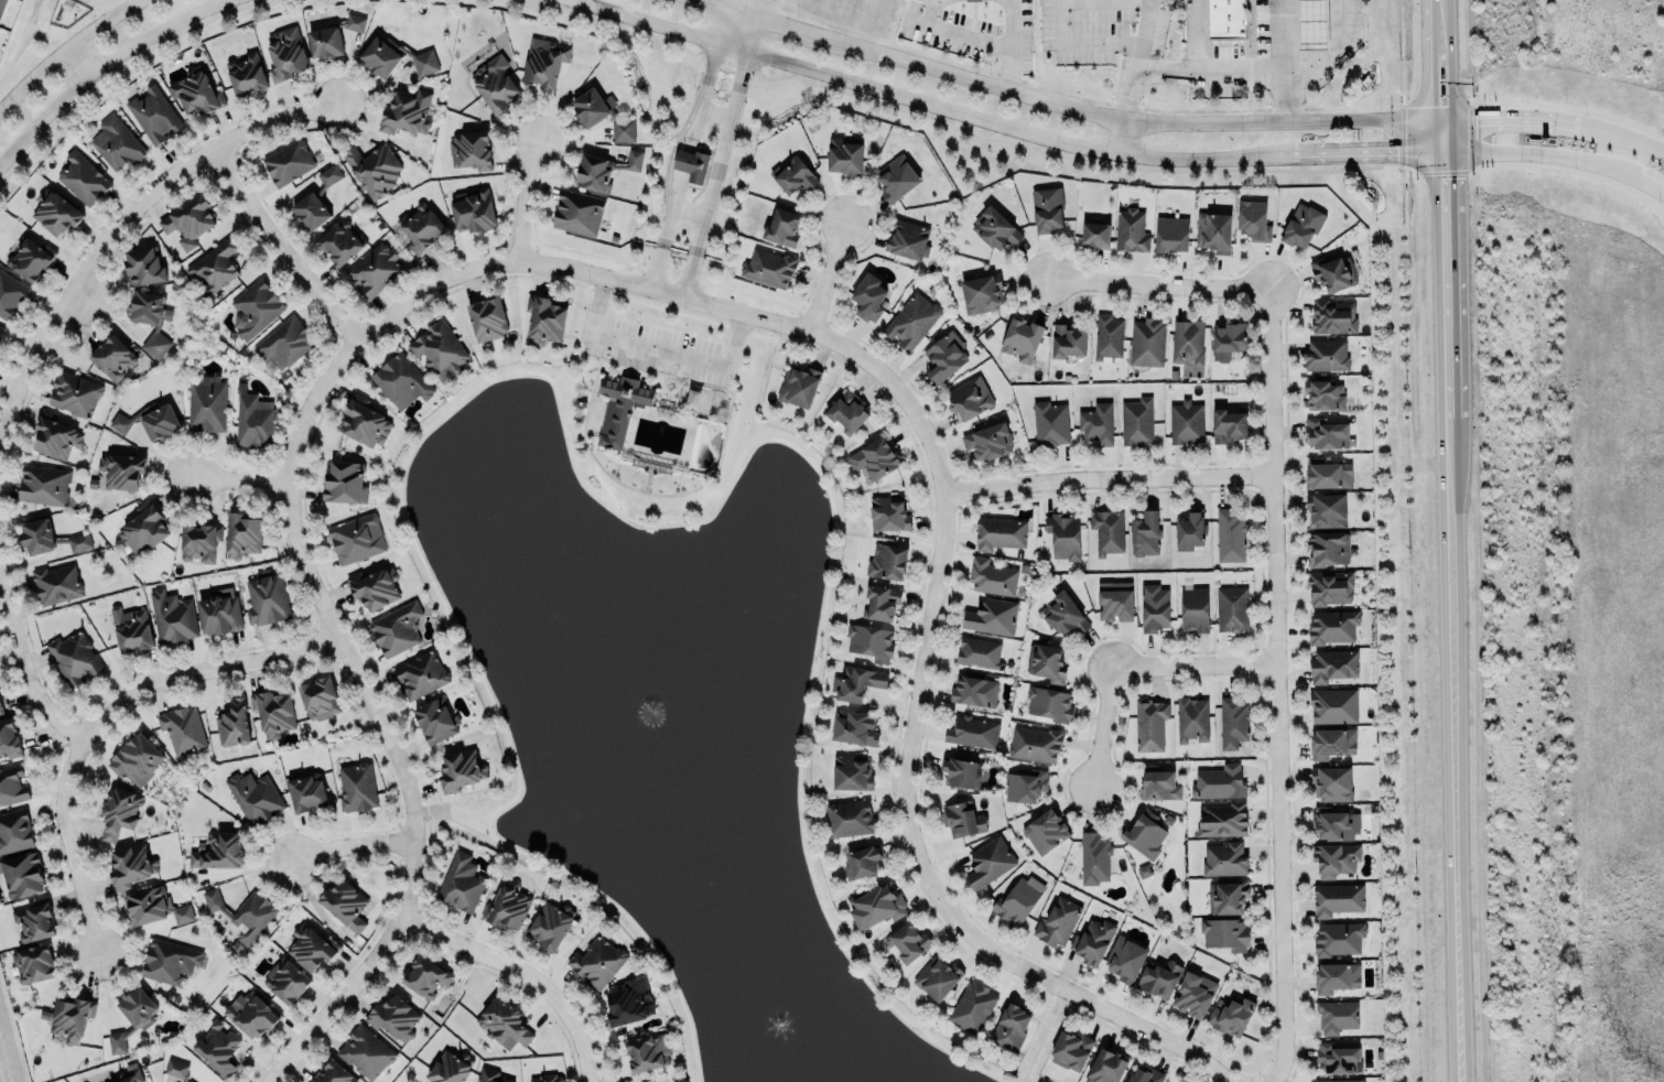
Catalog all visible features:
building: (972, 0)
building: (1, 6)
road: (1149, 6)
road: (1069, 12)
building: (1234, 20)
building: (1311, 24)
gas station: (1312, 24)
road: (1285, 34)
building: (331, 37)
road: (988, 42)
road: (1333, 50)
road: (63, 52)
building: (284, 53)
building: (395, 56)
building: (544, 62)
road: (100, 67)
road: (1204, 69)
road: (1138, 71)
building: (246, 73)
building: (494, 83)
building: (196, 93)
road: (1288, 95)
road: (1063, 108)
building: (407, 110)
building: (603, 113)
building: (153, 115)
road: (714, 116)
road: (1510, 119)
road: (693, 123)
road: (1000, 123)
road: (731, 128)
road: (1620, 142)
building: (116, 143)
building: (469, 150)
building: (844, 155)
road: (1542, 155)
building: (634, 160)
building: (288, 161)
building: (691, 164)
building: (374, 169)
building: (593, 173)
building: (796, 173)
building: (329, 175)
building: (897, 175)
building: (83, 177)
road: (1650, 185)
road: (522, 201)
building: (473, 209)
road: (691, 209)
building: (1047, 209)
building: (310, 210)
building: (54, 213)
building: (577, 213)
road: (119, 220)
building: (188, 220)
building: (1253, 220)
building: (1301, 224)
building: (420, 227)
building: (781, 227)
building: (994, 227)
building: (1131, 229)
building: (1213, 230)
building: (1095, 234)
building: (1170, 234)
building: (907, 238)
building: (339, 241)
road: (281, 248)
building: (30, 257)
building: (143, 264)
building: (214, 266)
building: (768, 267)
building: (374, 268)
road: (658, 269)
building: (1333, 273)
road: (692, 277)
road: (828, 278)
road: (1157, 283)
building: (982, 292)
building: (10, 293)
building: (868, 295)
building: (256, 307)
building: (1332, 315)
building: (150, 318)
building: (487, 318)
building: (544, 320)
building: (911, 320)
building: (1, 329)
building: (1107, 336)
building: (1022, 337)
building: (1229, 337)
building: (1068, 339)
building: (1188, 340)
building: (1147, 342)
building: (283, 344)
road: (661, 346)
building: (439, 349)
building: (1326, 355)
building: (112, 356)
building: (944, 357)
building: (401, 380)
building: (798, 386)
building: (1323, 392)
building: (74, 393)
building: (970, 397)
building: (206, 402)
building: (619, 409)
building: (847, 411)
building: (364, 420)
building: (1136, 420)
building: (253, 421)
building: (1186, 422)
building: (1050, 423)
building: (1096, 423)
building: (1229, 424)
building: (1326, 432)
building: (55, 437)
building: (987, 442)
building: (875, 457)
building: (121, 469)
building: (1329, 474)
road: (1109, 476)
road: (240, 479)
building: (345, 482)
building: (43, 484)
building: (1326, 509)
building: (888, 512)
building: (142, 529)
building: (1106, 531)
building: (1189, 531)
building: (998, 532)
building: (242, 533)
building: (1144, 533)
building: (1063, 534)
building: (1230, 535)
building: (36, 537)
building: (358, 538)
building: (198, 540)
road: (1451, 540)
building: (78, 542)
building: (1329, 548)
building: (887, 561)
building: (1024, 569)
road: (307, 576)
building: (993, 576)
building: (55, 584)
building: (374, 587)
building: (1330, 587)
building: (1019, 592)
building: (267, 597)
building: (1114, 599)
building: (880, 603)
building: (1153, 607)
building: (1231, 608)
building: (1193, 609)
building: (219, 610)
building: (1065, 614)
building: (172, 616)
building: (992, 616)
building: (1332, 626)
building: (396, 628)
building: (130, 629)
building: (869, 640)
building: (979, 652)
building: (73, 657)
building: (1046, 661)
road: (23, 663)
building: (1332, 663)
road: (1196, 664)
building: (421, 674)
road: (920, 679)
building: (856, 682)
road: (1278, 686)
building: (975, 690)
building: (318, 699)
building: (1049, 703)
building: (1332, 704)
building: (0, 710)
fountain: (656, 711)
building: (272, 712)
road: (101, 716)
building: (1192, 718)
building: (434, 719)
building: (1232, 722)
building: (233, 723)
building: (1149, 723)
building: (854, 726)
road: (1103, 727)
building: (182, 729)
building: (972, 732)
building: (9, 738)
building: (1332, 742)
building: (1034, 744)
building: (136, 758)
building: (461, 769)
building: (850, 771)
building: (962, 771)
building: (1219, 781)
building: (1158, 783)
building: (1331, 783)
building: (12, 786)
building: (1024, 786)
building: (357, 787)
building: (306, 793)
building: (253, 797)
building: (119, 811)
building: (850, 816)
building: (963, 818)
building: (1221, 819)
building: (1332, 824)
building: (1045, 830)
building: (14, 831)
building: (1144, 833)
road: (354, 846)
building: (217, 851)
building: (1093, 857)
building: (1224, 858)
building: (1336, 858)
building: (862, 861)
building: (988, 861)
building: (129, 865)
building: (22, 874)
building: (462, 881)
building: (1230, 896)
building: (1337, 898)
building: (1017, 899)
building: (345, 904)
building: (508, 905)
building: (153, 906)
building: (875, 906)
building: (245, 911)
building: (33, 921)
building: (1057, 922)
building: (550, 923)
building: (1225, 932)
building: (1339, 938)
building: (1092, 940)
building: (909, 941)
building: (312, 948)
building: (1125, 959)
building: (170, 961)
building: (596, 962)
building: (33, 963)
road: (525, 972)
building: (425, 976)
building: (937, 976)
building: (1336, 976)
building: (285, 980)
building: (1159, 980)
building: (1193, 994)
building: (629, 1002)
building: (972, 1007)
building: (251, 1014)
building: (1231, 1014)
building: (132, 1016)
building: (1337, 1016)
building: (393, 1017)
building: (71, 1018)
building: (504, 1024)
fountain: (785, 1026)
building: (1011, 1026)
building: (217, 1048)
building: (1070, 1050)
building: (366, 1051)
building: (647, 1052)
building: (1338, 1058)
building: (450, 1067)
building: (1105, 1067)
building: (176, 1069)
building: (129, 1073)
building: (333, 1073)
building: (490, 1075)
building: (1143, 1076)
building: (545, 1079)
building: (1338, 1080)

